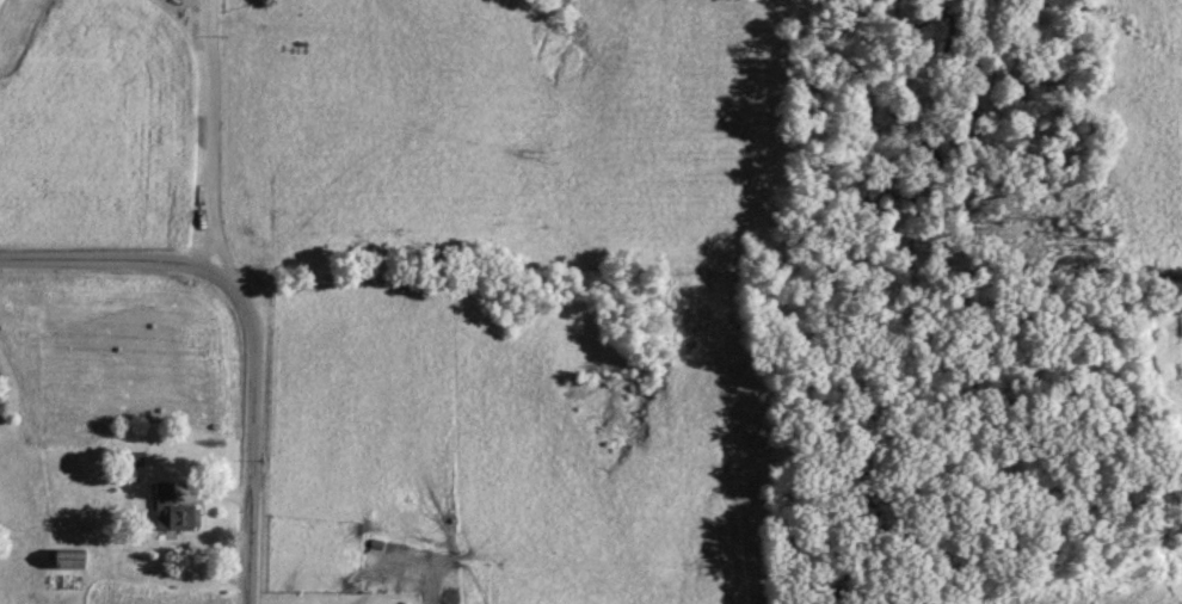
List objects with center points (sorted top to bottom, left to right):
road: (209, 136)
road: (254, 322)
building: (160, 491)
building: (178, 517)
building: (62, 557)

